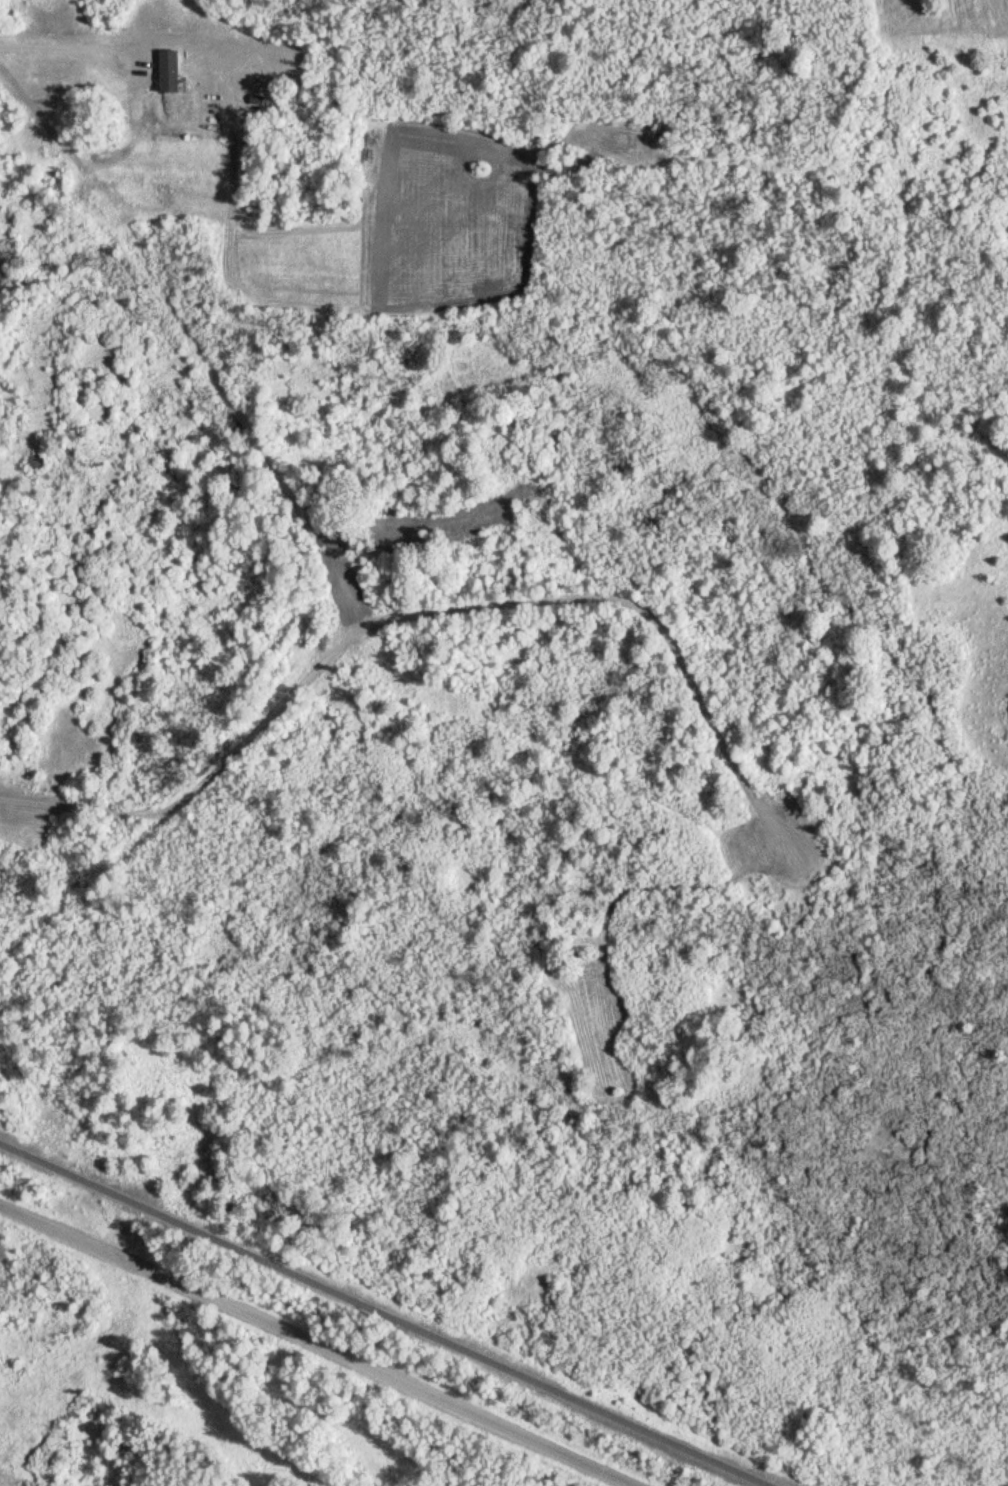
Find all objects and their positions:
building: (163, 70)
road: (427, 612)
road: (385, 1313)
road: (247, 1318)
road: (559, 1458)

